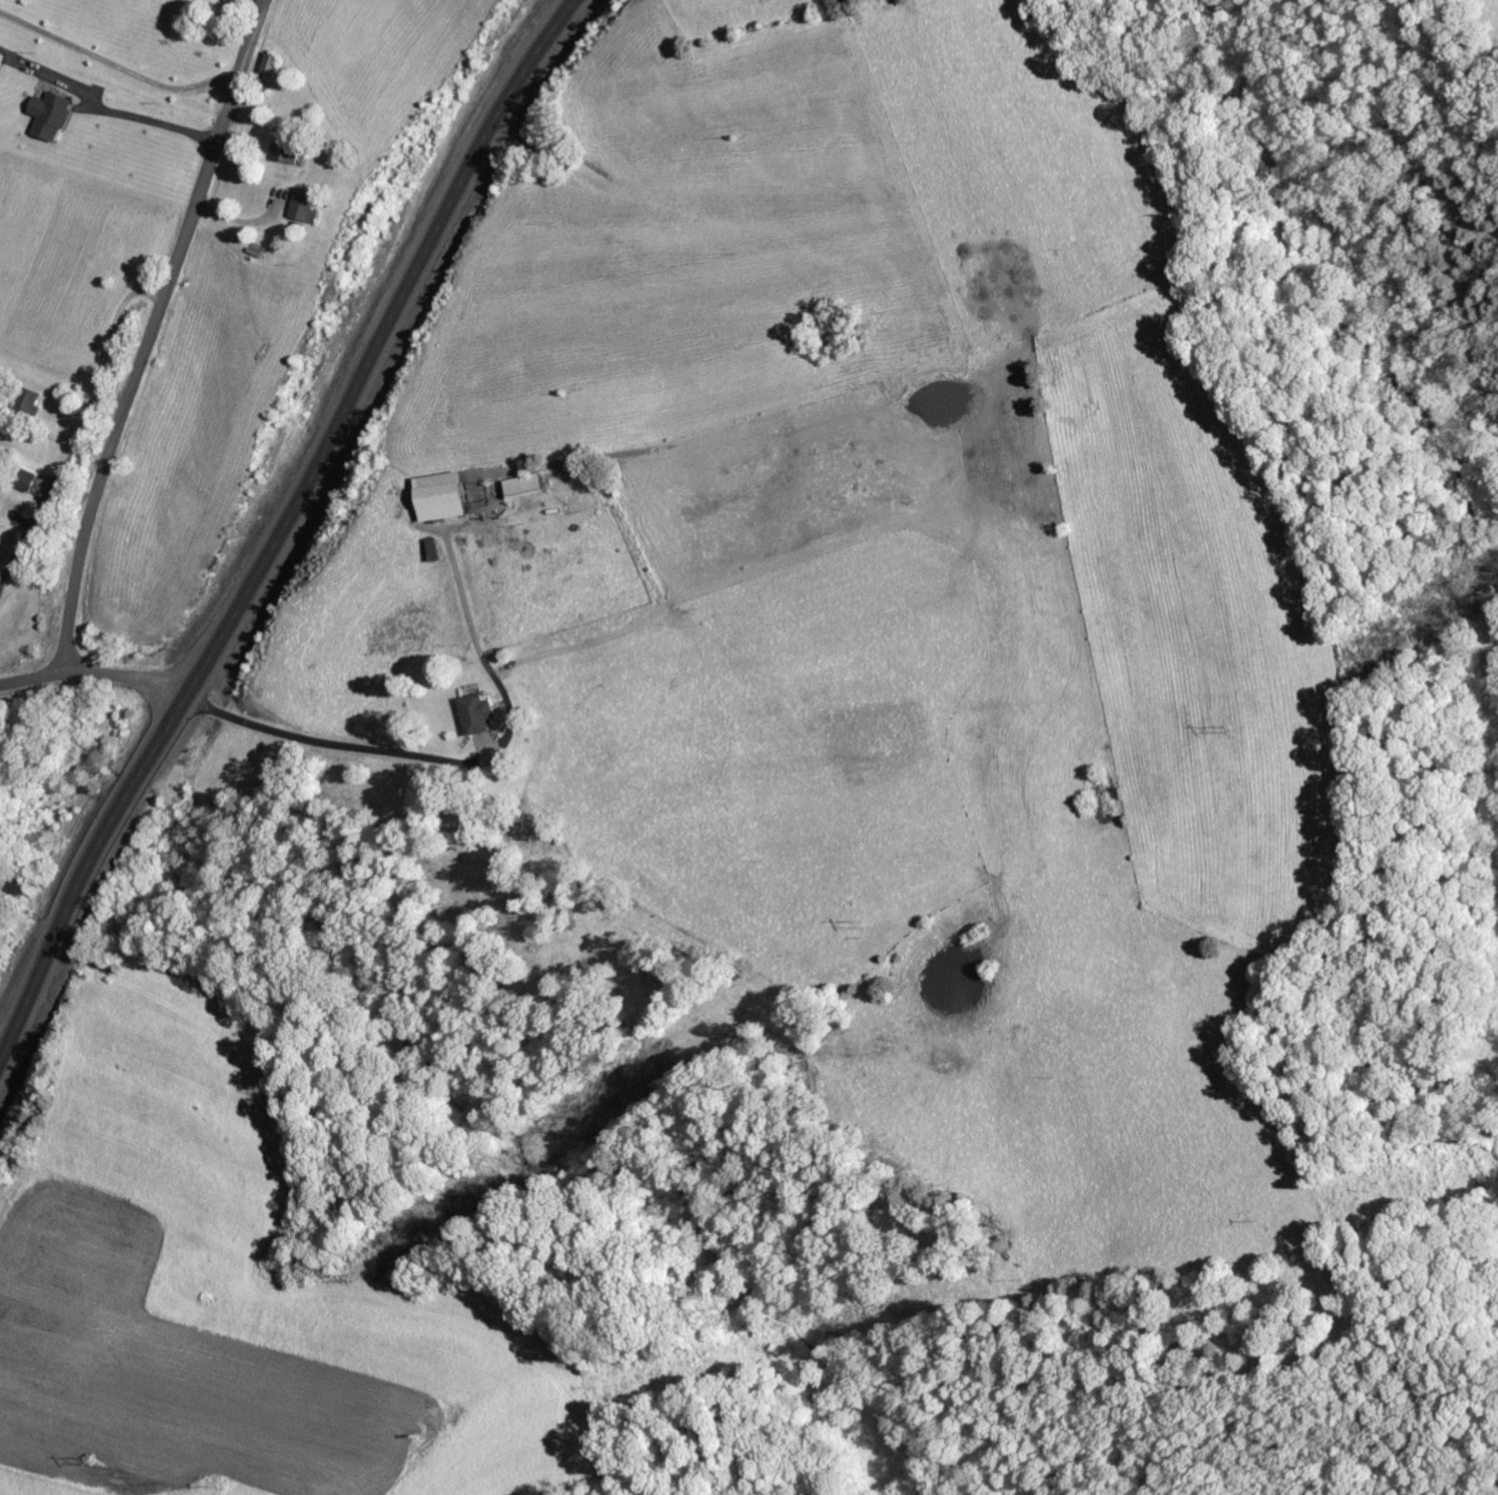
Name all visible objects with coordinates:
building: (2, 58)
building: (271, 64)
building: (52, 113)
building: (288, 149)
building: (305, 204)
road: (152, 332)
building: (29, 479)
building: (527, 484)
building: (443, 495)
road: (273, 519)
road: (93, 671)
building: (476, 713)

